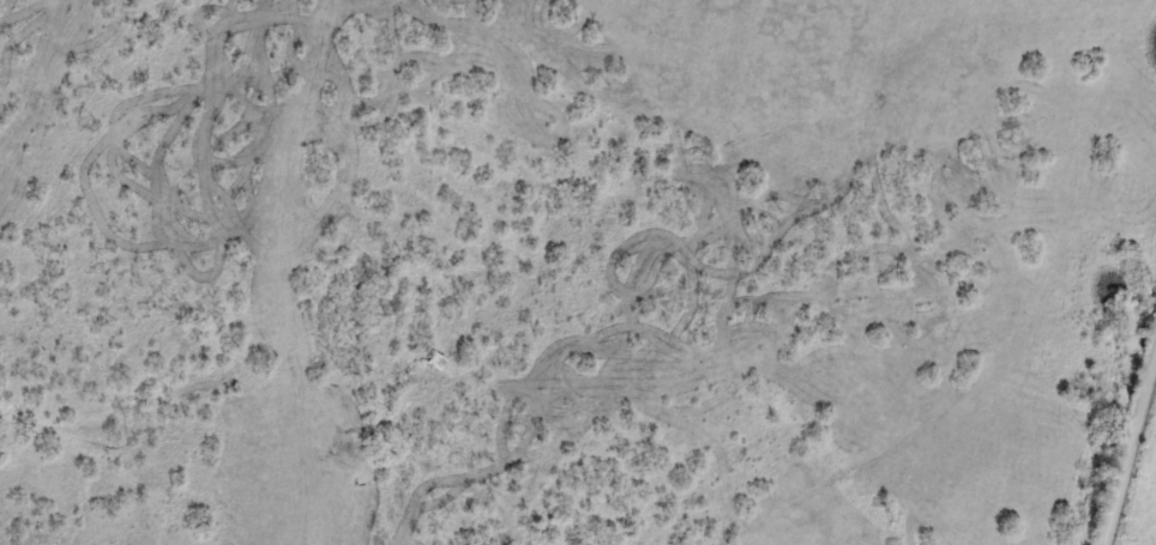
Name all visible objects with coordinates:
building: (347, 438)
road: (1131, 458)

